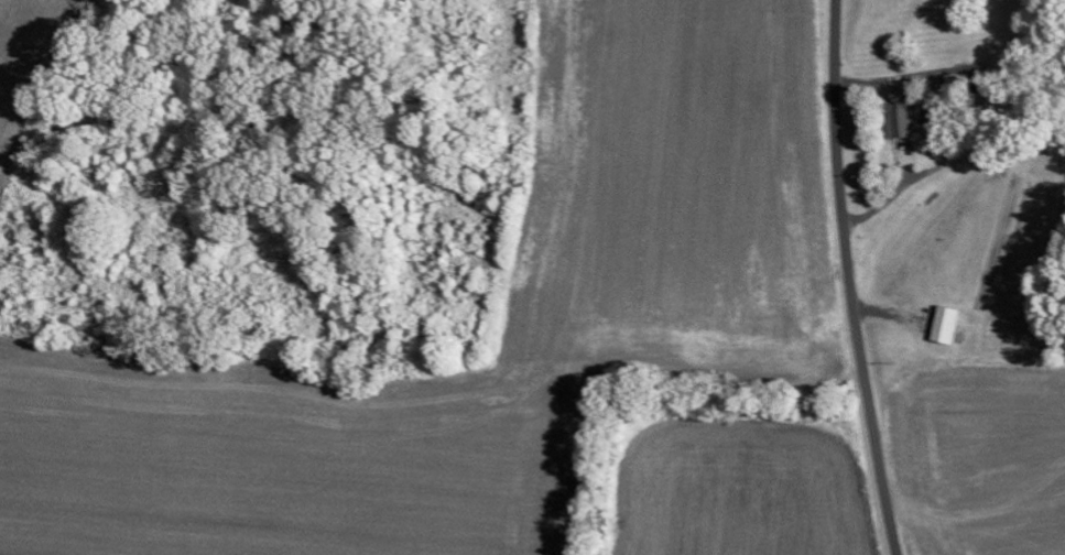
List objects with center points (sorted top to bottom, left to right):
building: (903, 117)
road: (848, 279)
building: (948, 324)

